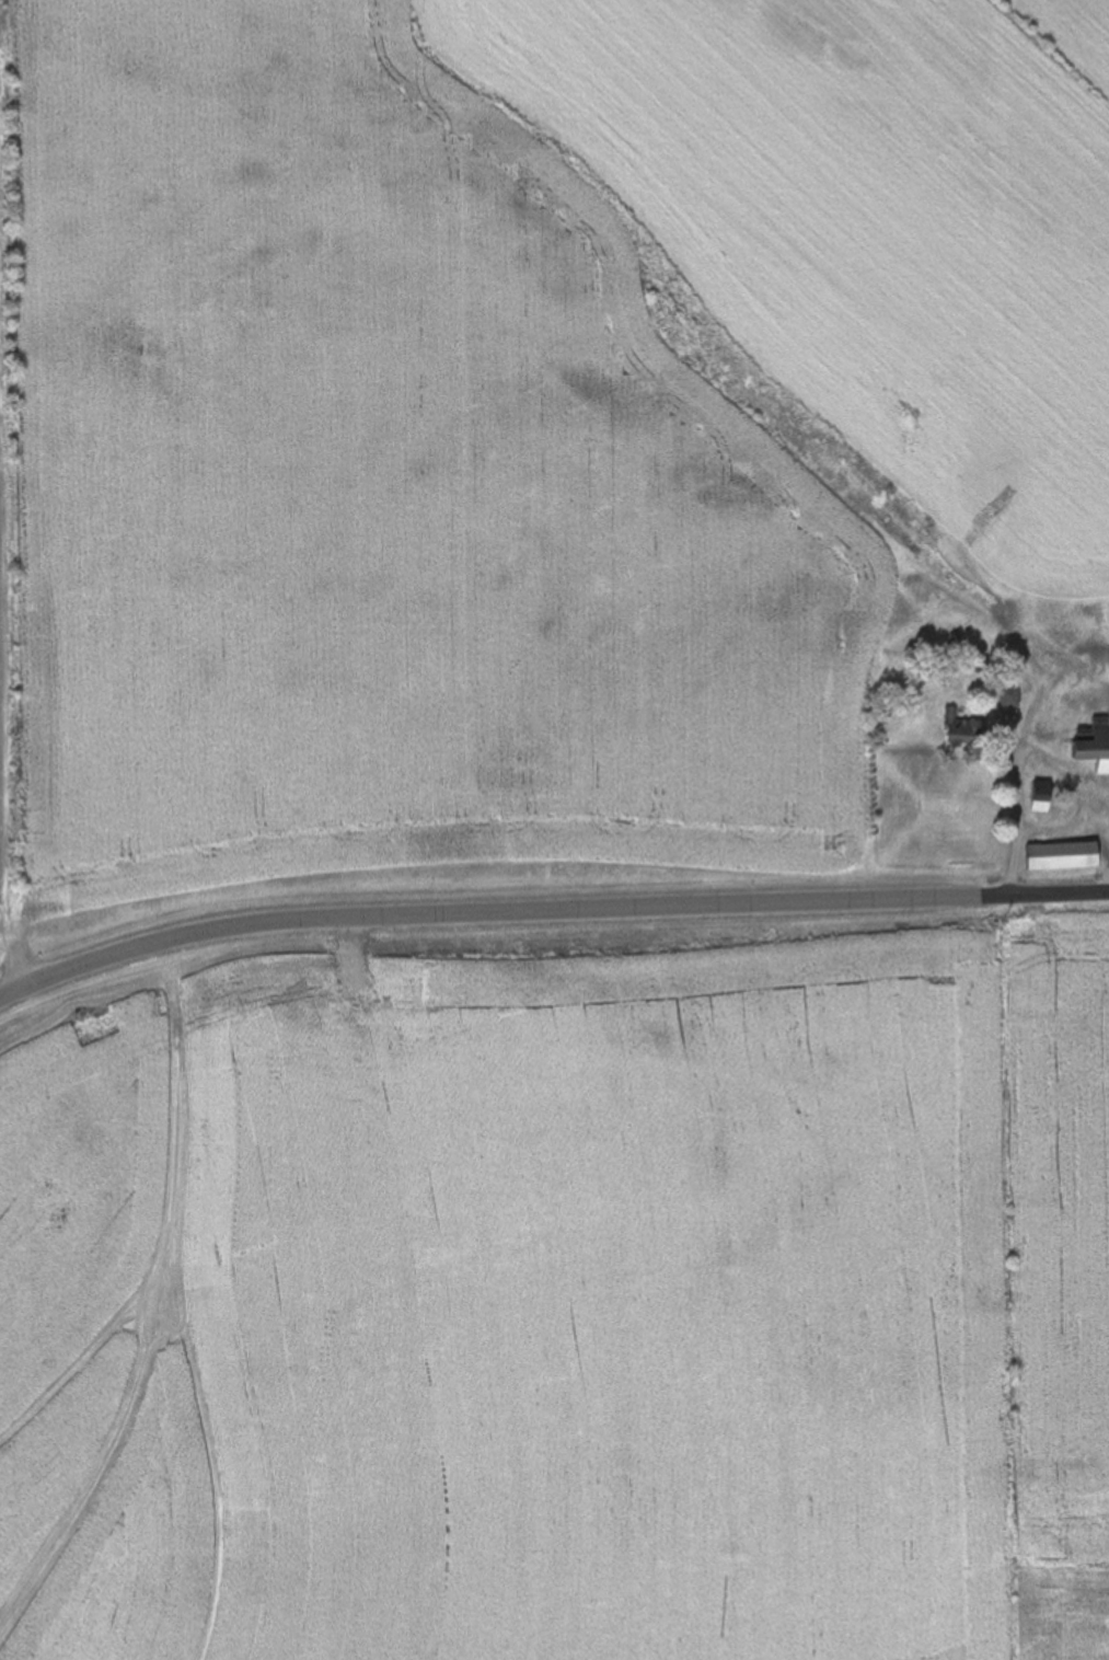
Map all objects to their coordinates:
building: (964, 729)
building: (1096, 746)
building: (1044, 798)
road: (1024, 802)
building: (1065, 857)
road: (547, 900)

